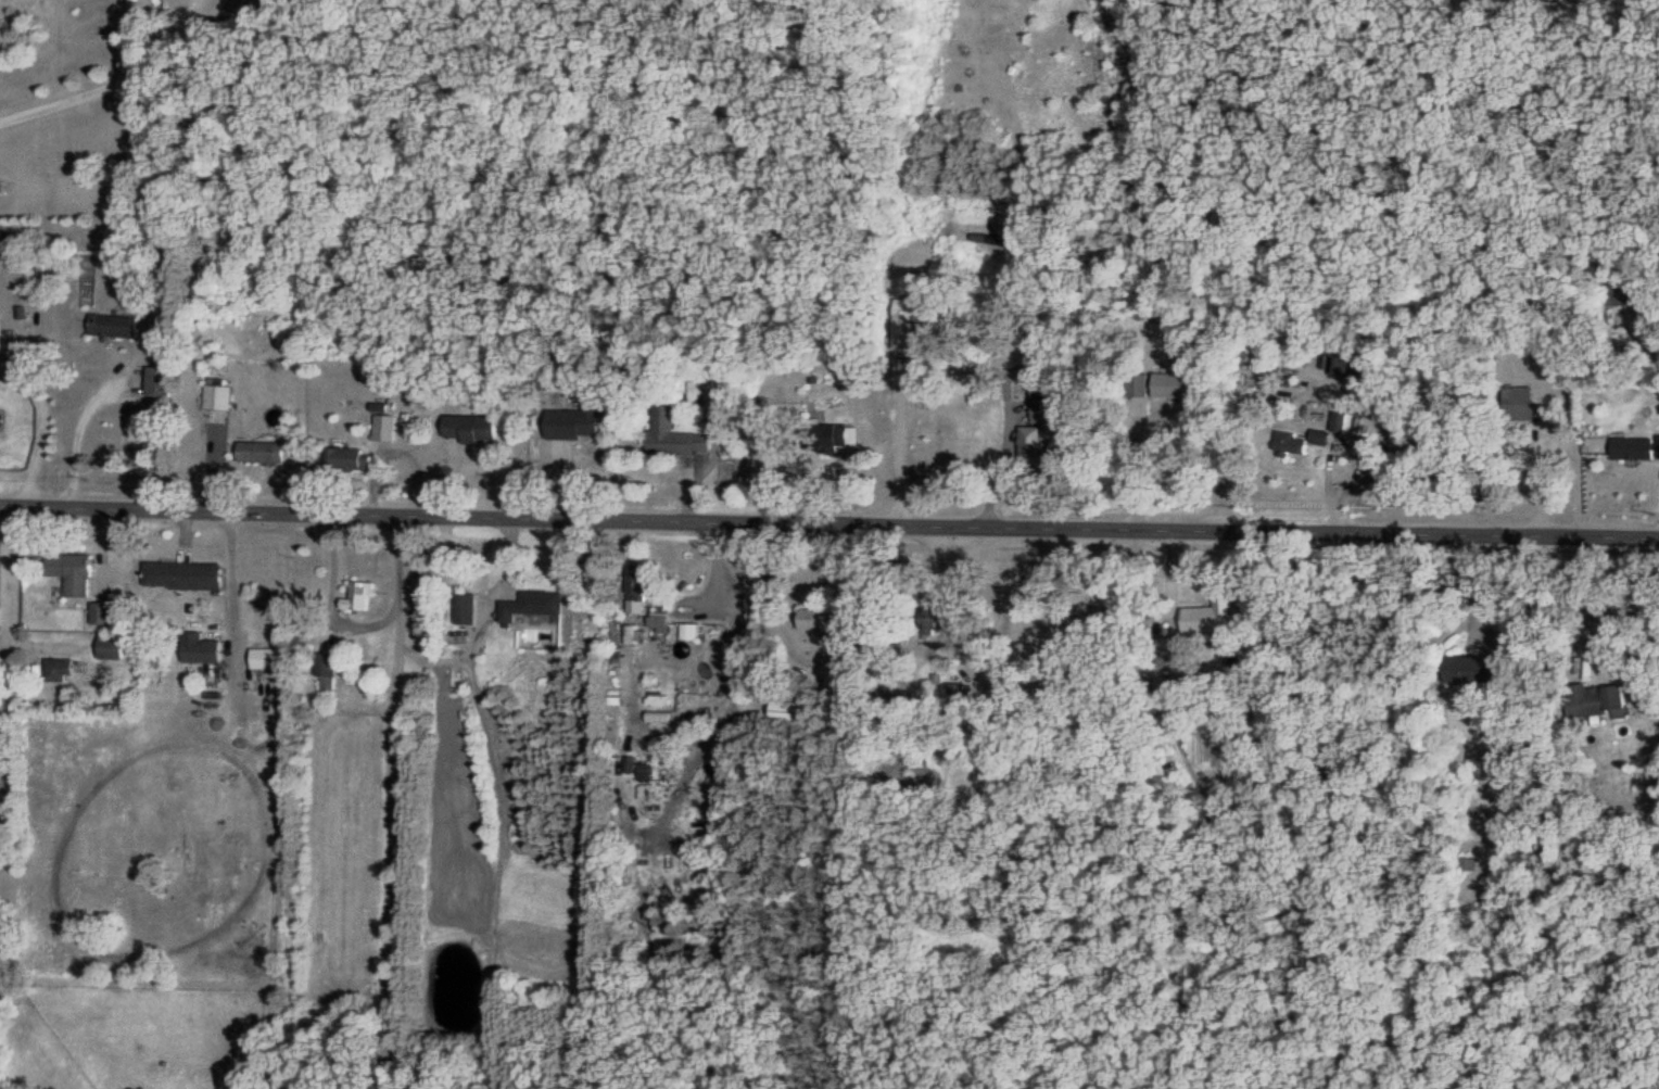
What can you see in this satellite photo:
road: (124, 77)
building: (1622, 293)
building: (908, 321)
building: (114, 325)
building: (0, 343)
building: (1345, 364)
building: (160, 380)
building: (1176, 384)
building: (218, 395)
building: (1524, 402)
building: (1047, 410)
road: (1011, 417)
building: (1339, 420)
building: (577, 422)
building: (384, 427)
building: (472, 428)
road: (80, 432)
building: (676, 434)
building: (834, 435)
building: (1321, 435)
road: (897, 440)
building: (1031, 444)
building: (1290, 444)
building: (1634, 447)
building: (262, 451)
building: (347, 458)
road: (1138, 466)
road: (828, 522)
building: (72, 571)
building: (188, 574)
road: (232, 578)
building: (637, 582)
building: (358, 596)
road: (1628, 597)
road: (333, 603)
building: (532, 606)
building: (466, 608)
building: (102, 612)
building: (935, 618)
building: (658, 619)
building: (818, 619)
building: (1211, 620)
building: (1100, 622)
building: (112, 646)
building: (203, 649)
building: (1168, 650)
building: (267, 657)
building: (848, 658)
road: (9, 659)
building: (331, 668)
building: (59, 669)
building: (1476, 669)
building: (954, 694)
building: (1597, 701)
building: (787, 711)
road: (391, 730)
building: (1491, 763)
building: (635, 769)
building: (1469, 863)

